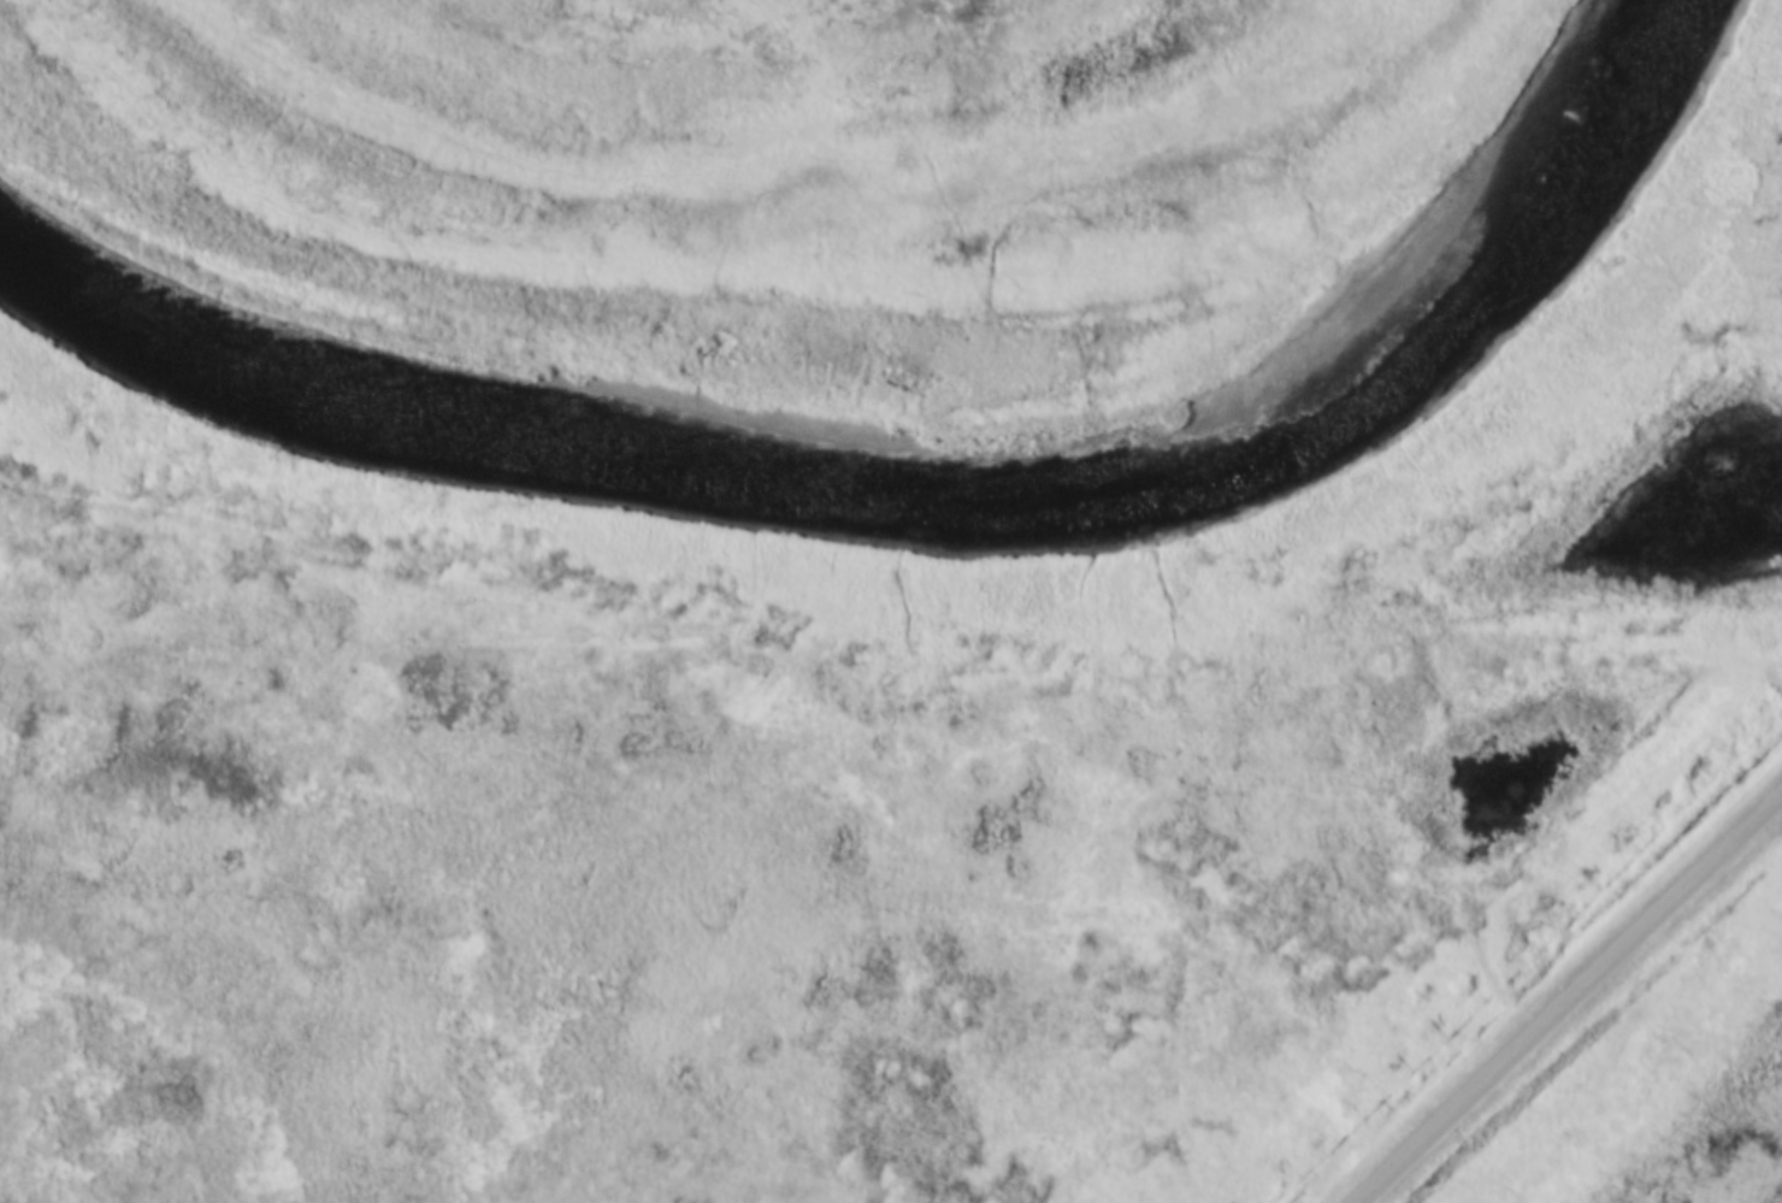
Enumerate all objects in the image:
river: (890, 466)
road: (1566, 993)

